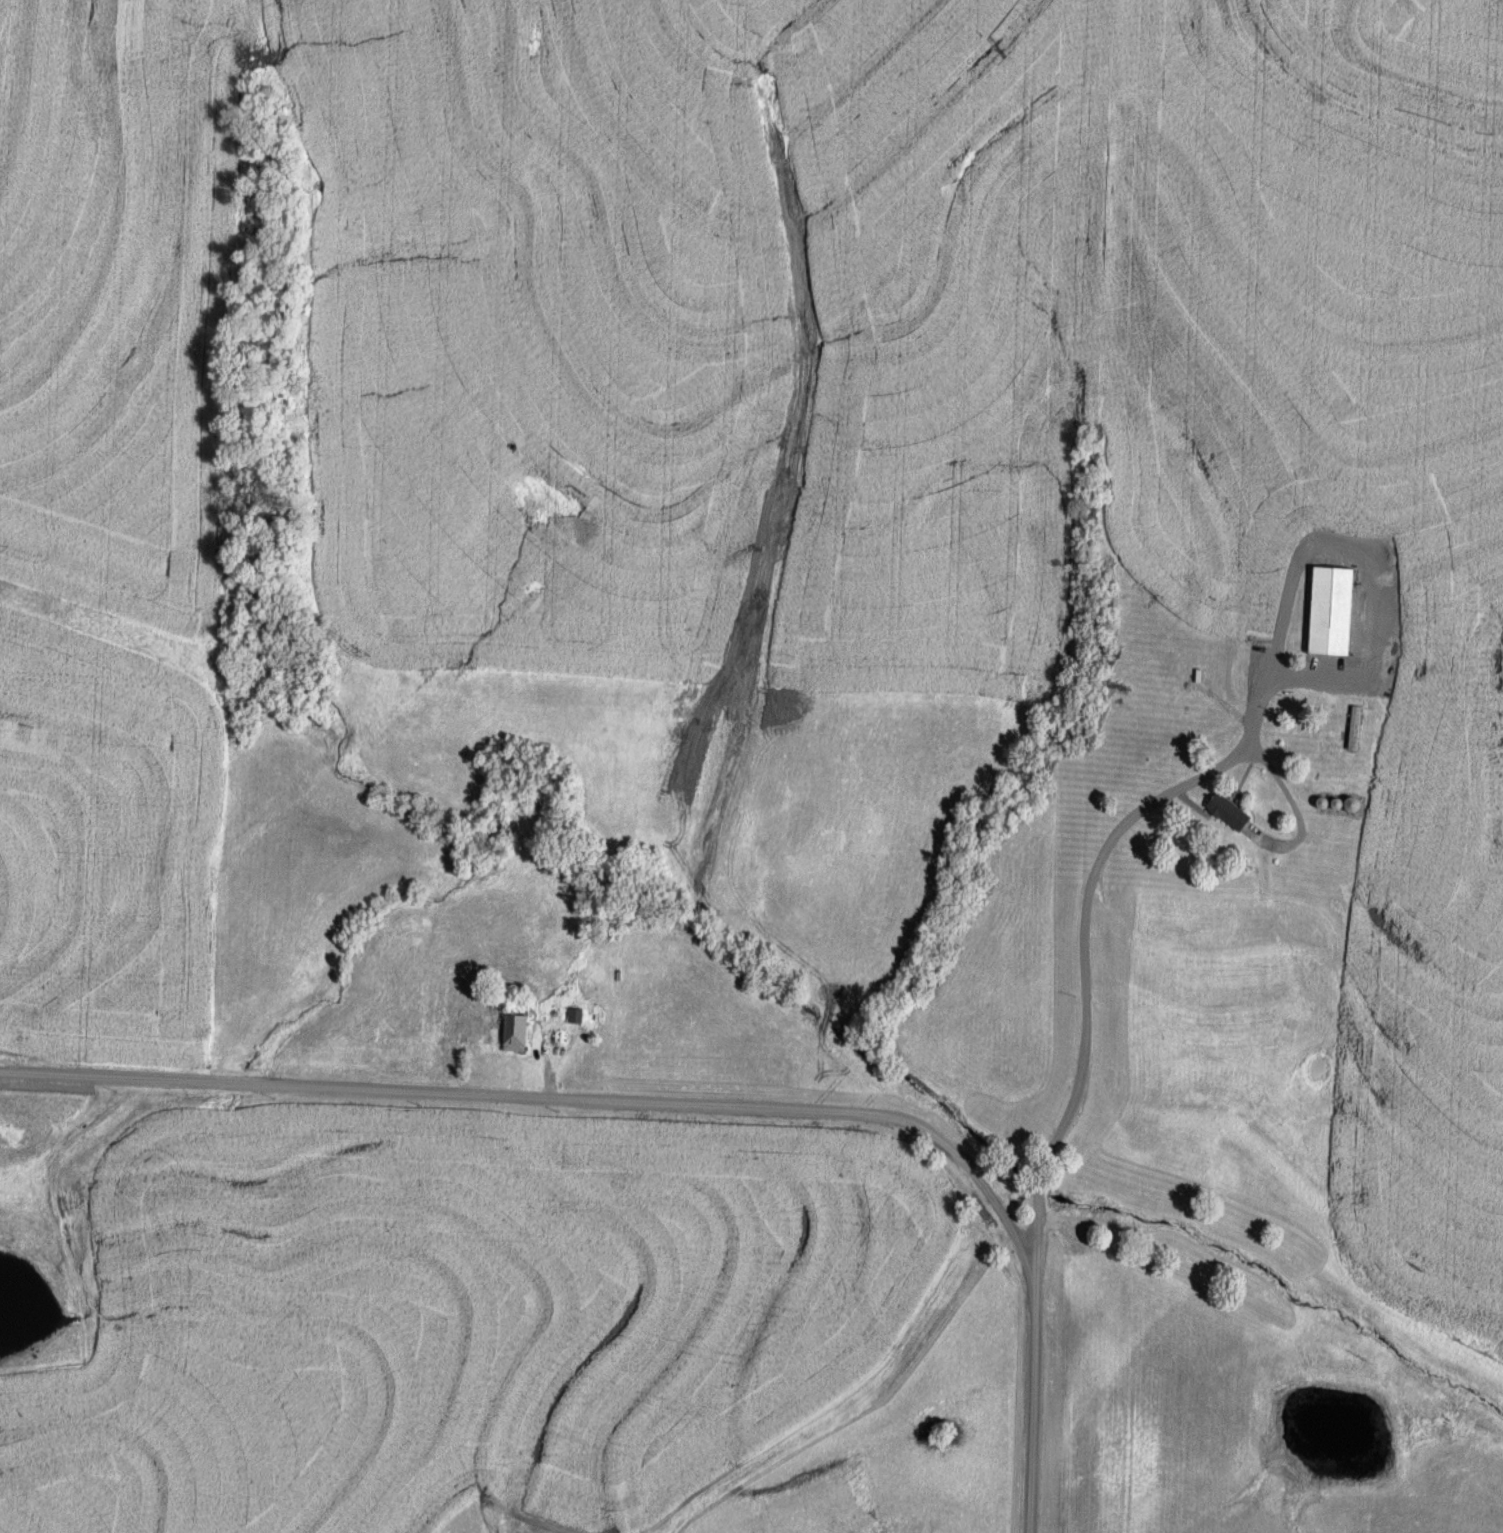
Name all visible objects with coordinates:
building: (1334, 610)
building: (1187, 666)
building: (1356, 728)
building: (1232, 812)
road: (1084, 933)
building: (578, 1016)
building: (519, 1033)
road: (685, 1103)
road: (1071, 1193)

